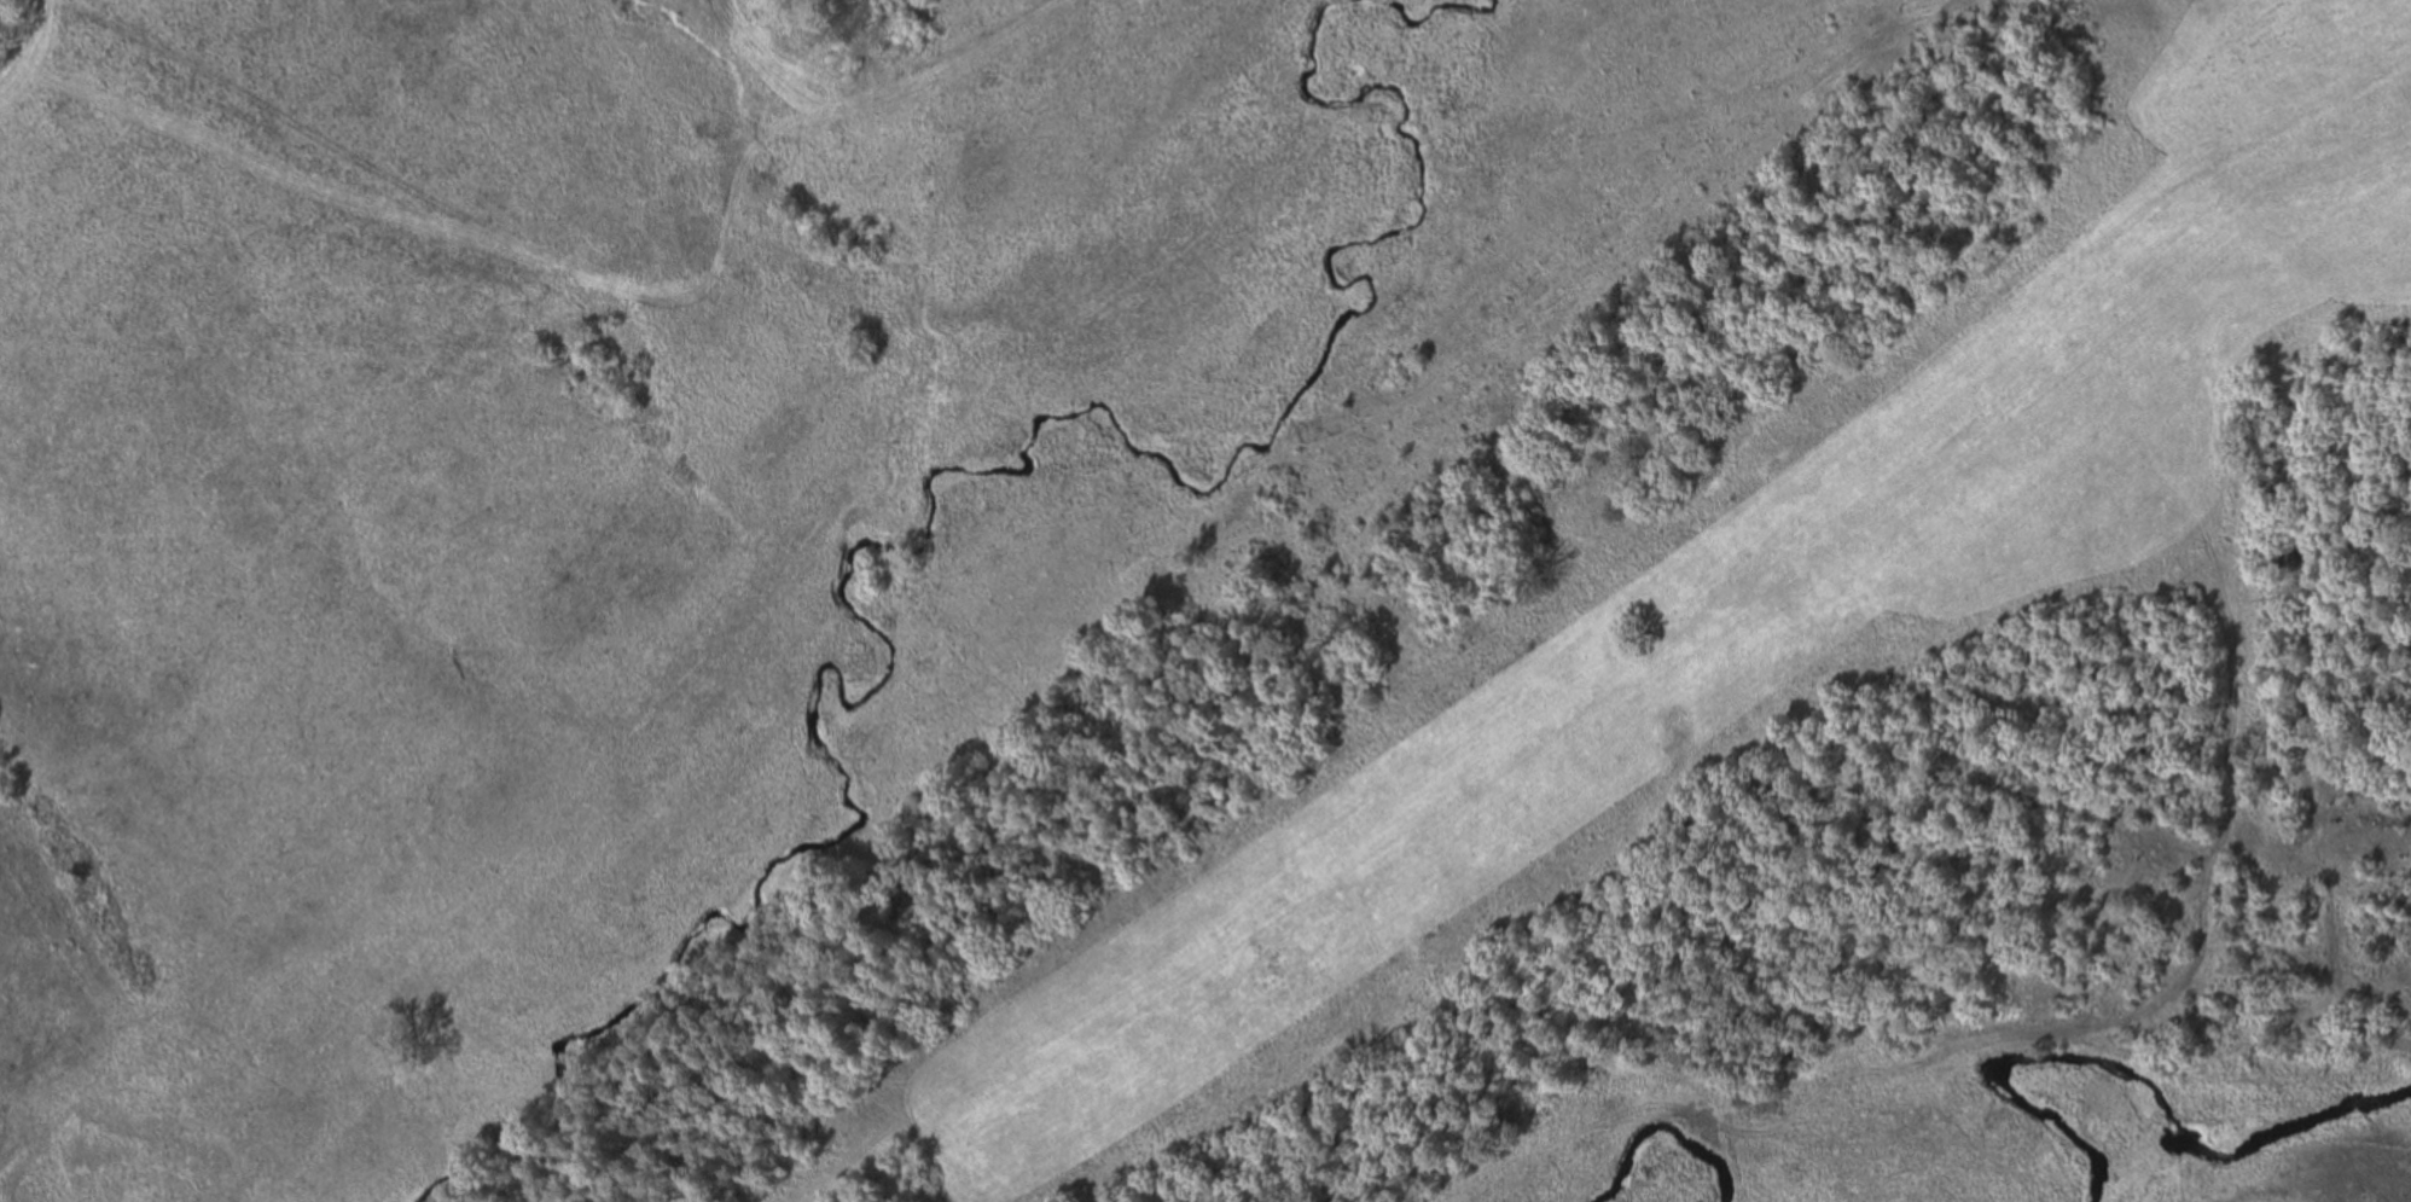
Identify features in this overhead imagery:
road: (861, 100)

